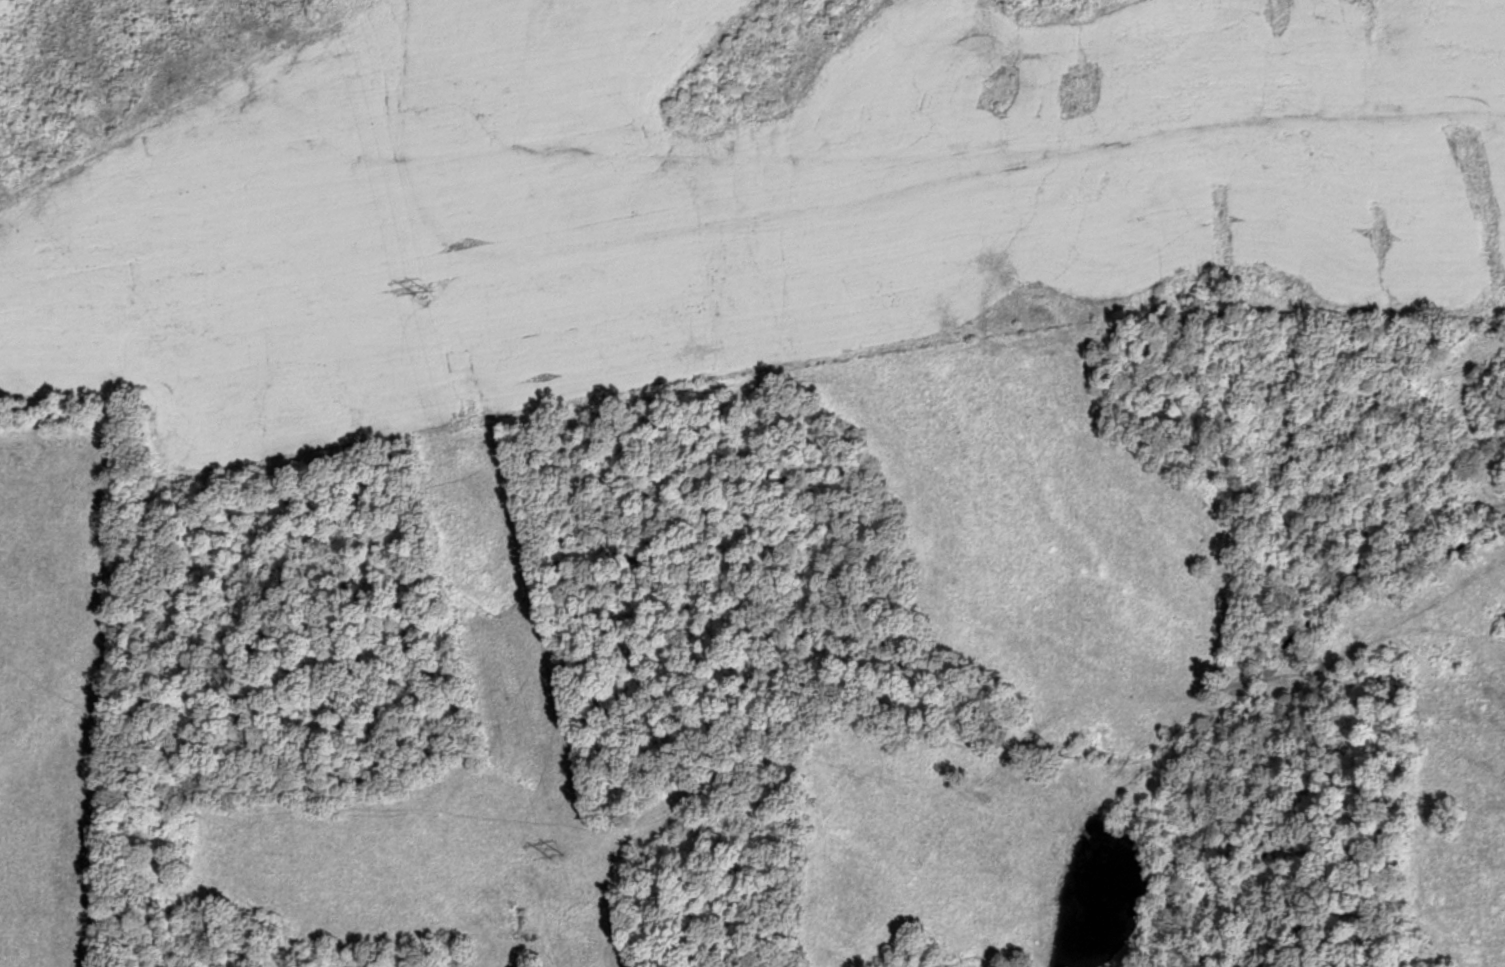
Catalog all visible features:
power tower: (420, 290)
power tower: (558, 858)

